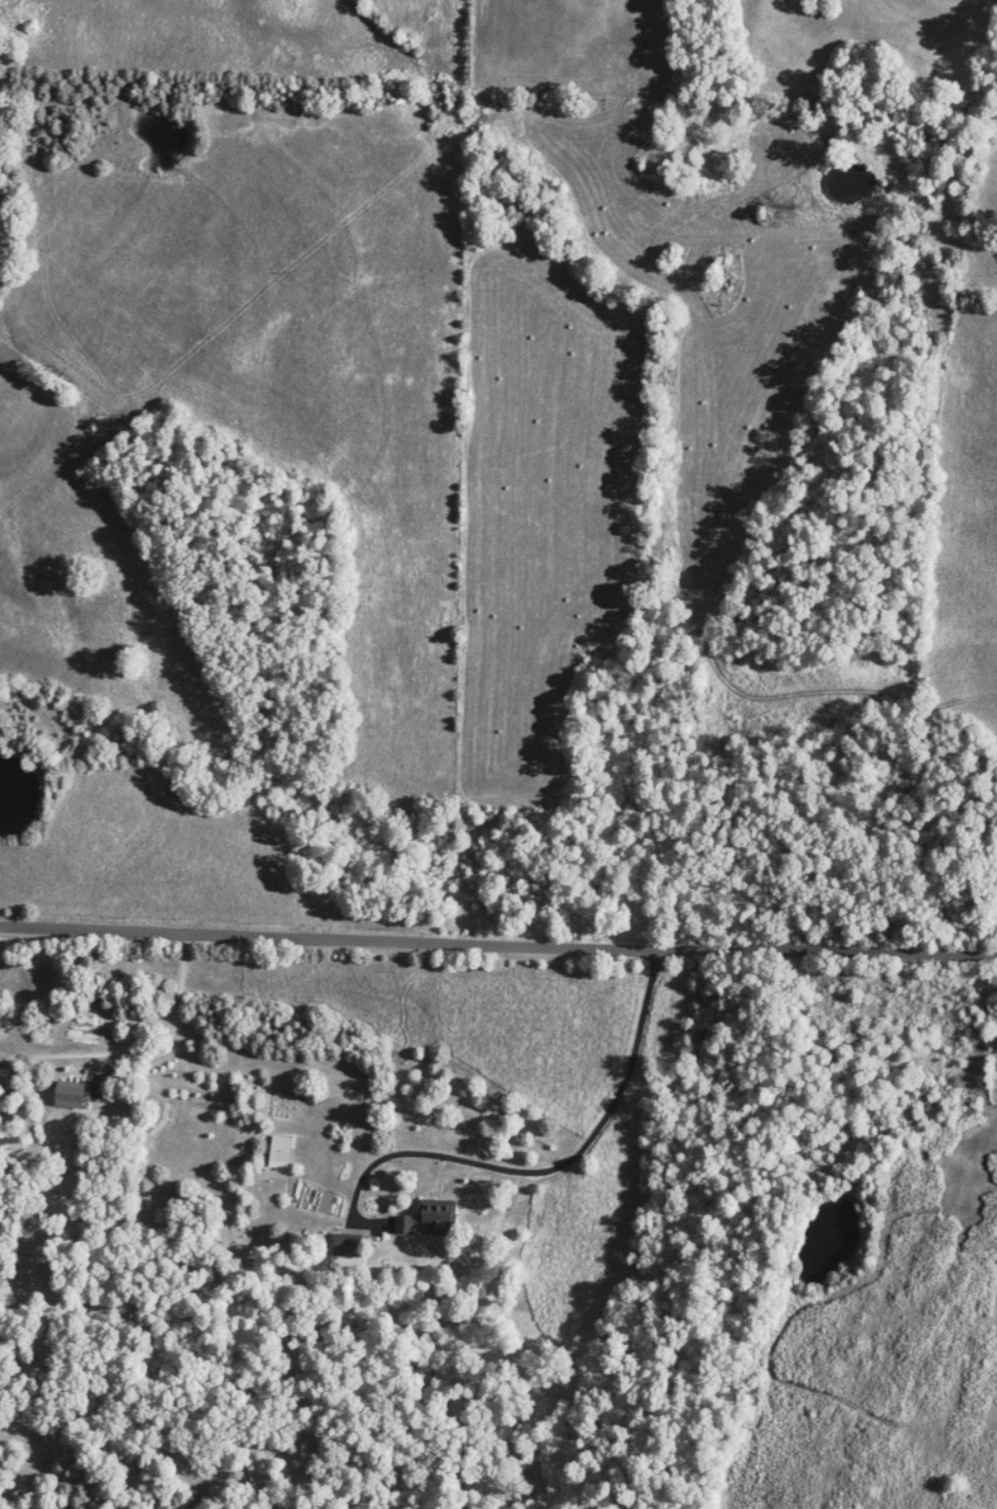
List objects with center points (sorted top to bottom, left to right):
airport runway: (623, 41)
road: (498, 940)
road: (148, 1051)
building: (70, 1092)
building: (280, 1147)
road: (538, 1166)
building: (430, 1215)

